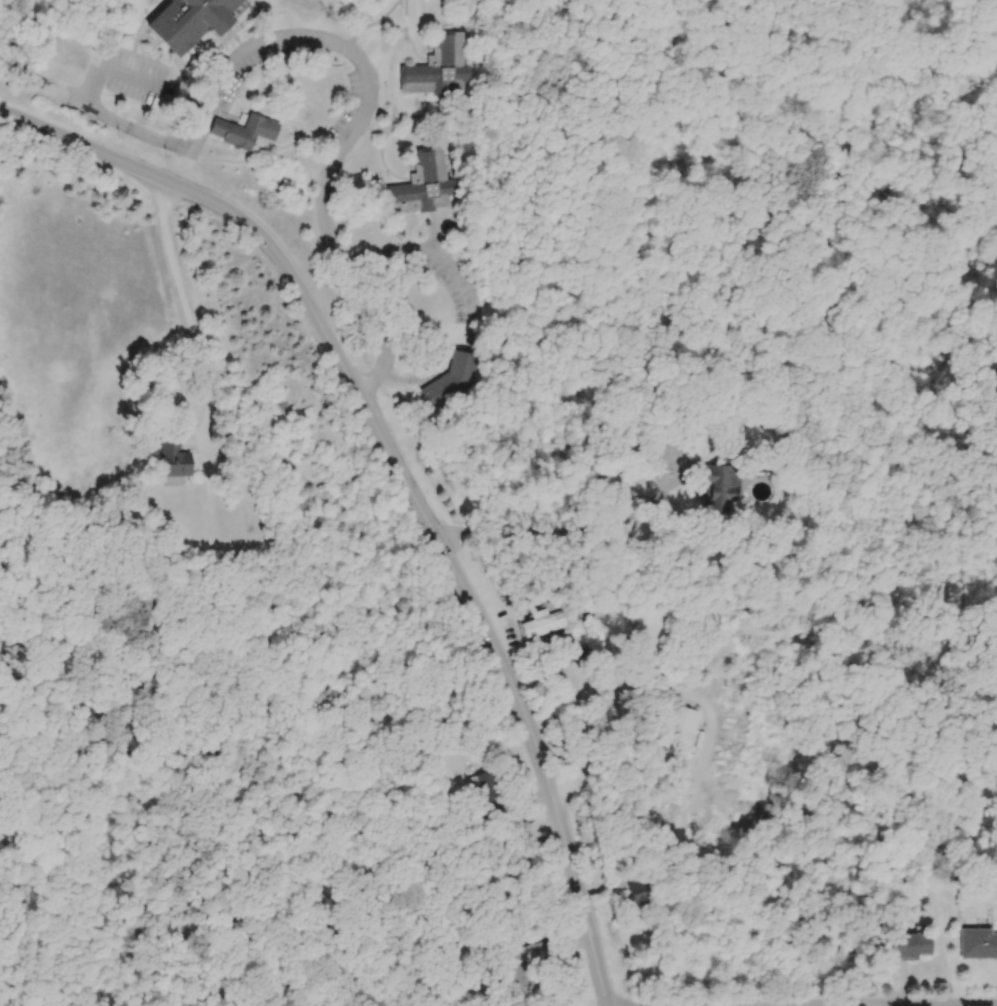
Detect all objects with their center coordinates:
building: (193, 21)
road: (329, 38)
road: (109, 68)
building: (440, 69)
building: (245, 131)
building: (423, 186)
road: (423, 249)
road: (186, 311)
building: (457, 381)
building: (175, 456)
road: (401, 476)
building: (614, 489)
building: (723, 489)
road: (570, 527)
building: (587, 611)
building: (549, 621)
building: (649, 630)
building: (681, 730)
road: (248, 766)
building: (492, 796)
road: (738, 833)
building: (639, 892)
building: (979, 945)
building: (913, 947)
building: (529, 974)

